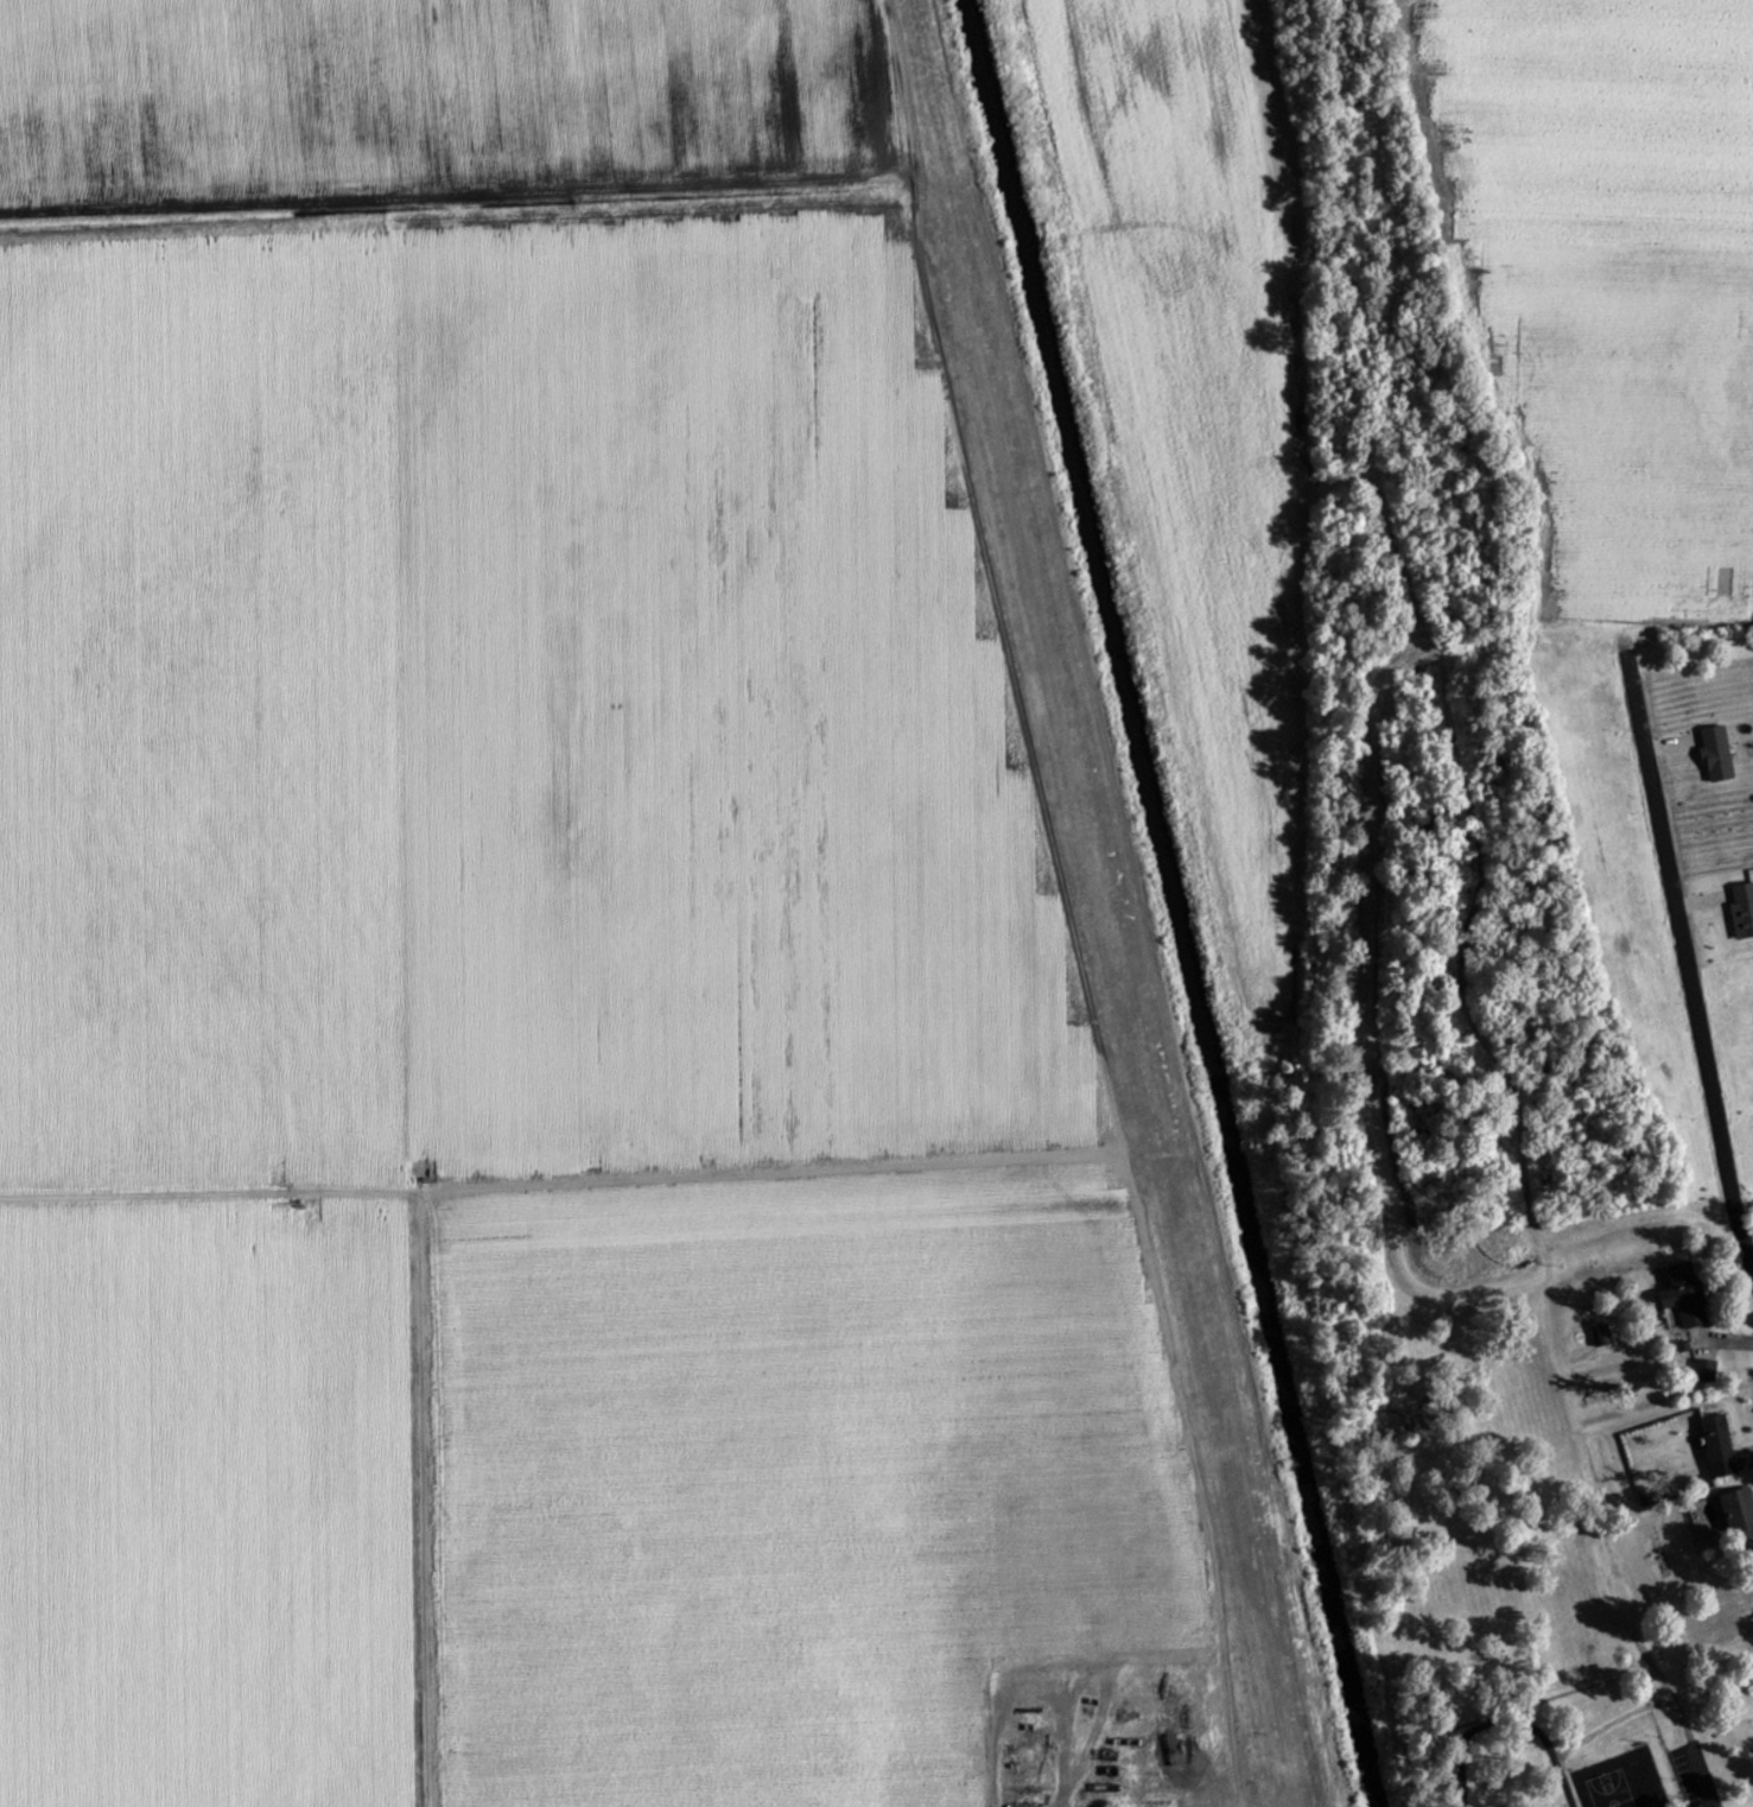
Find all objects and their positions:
building: (1719, 754)
building: (1744, 911)
building: (1687, 1295)
building: (1602, 1337)
building: (1707, 1371)
building: (1720, 1447)
building: (1741, 1514)

